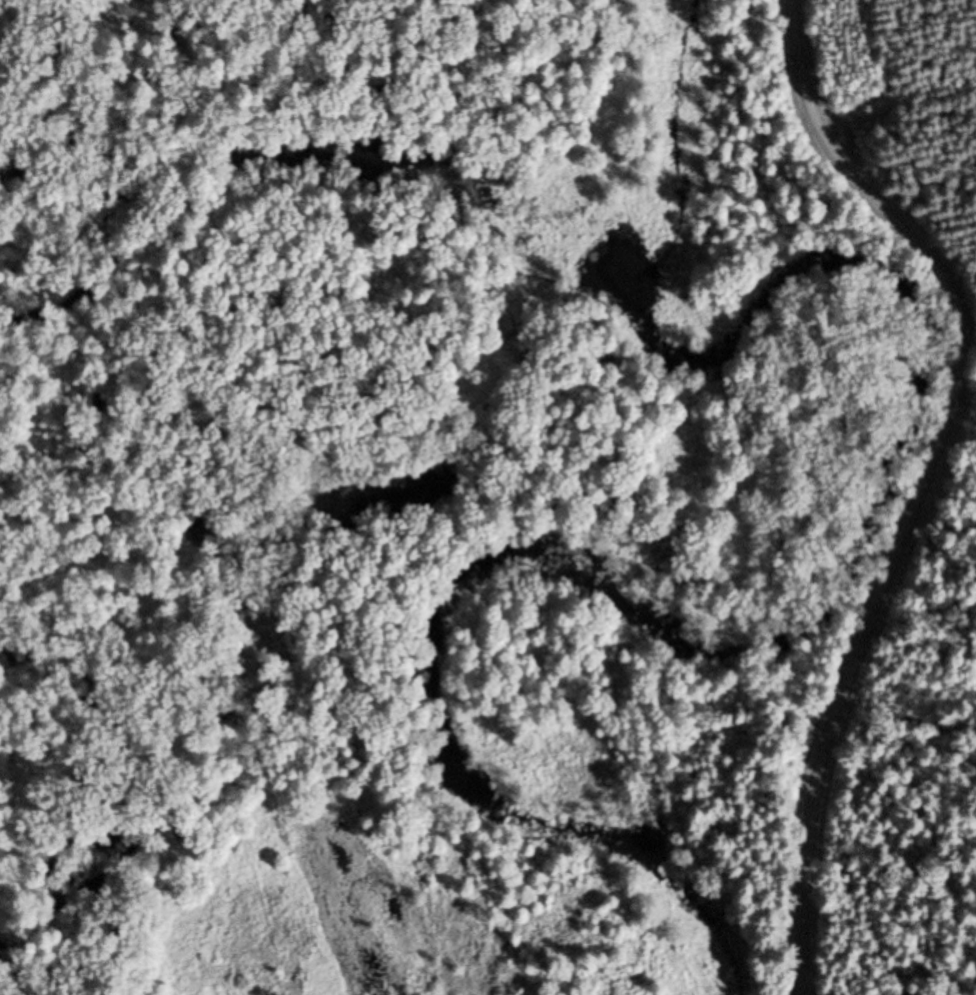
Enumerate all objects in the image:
road: (925, 476)

